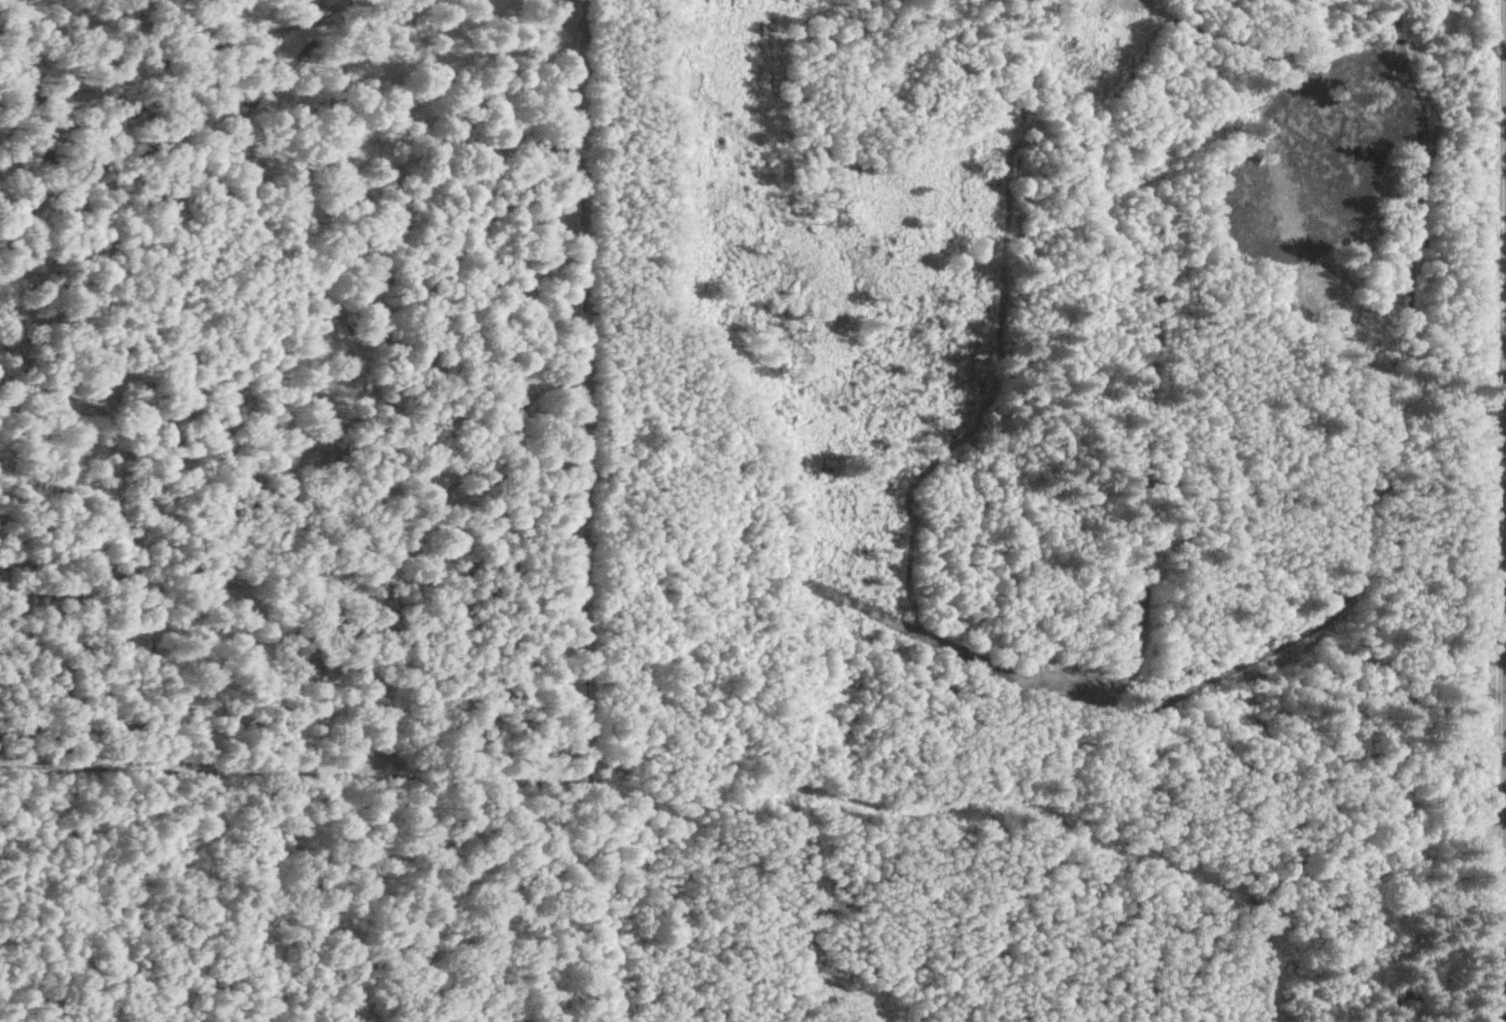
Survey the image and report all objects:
road: (1504, 651)

